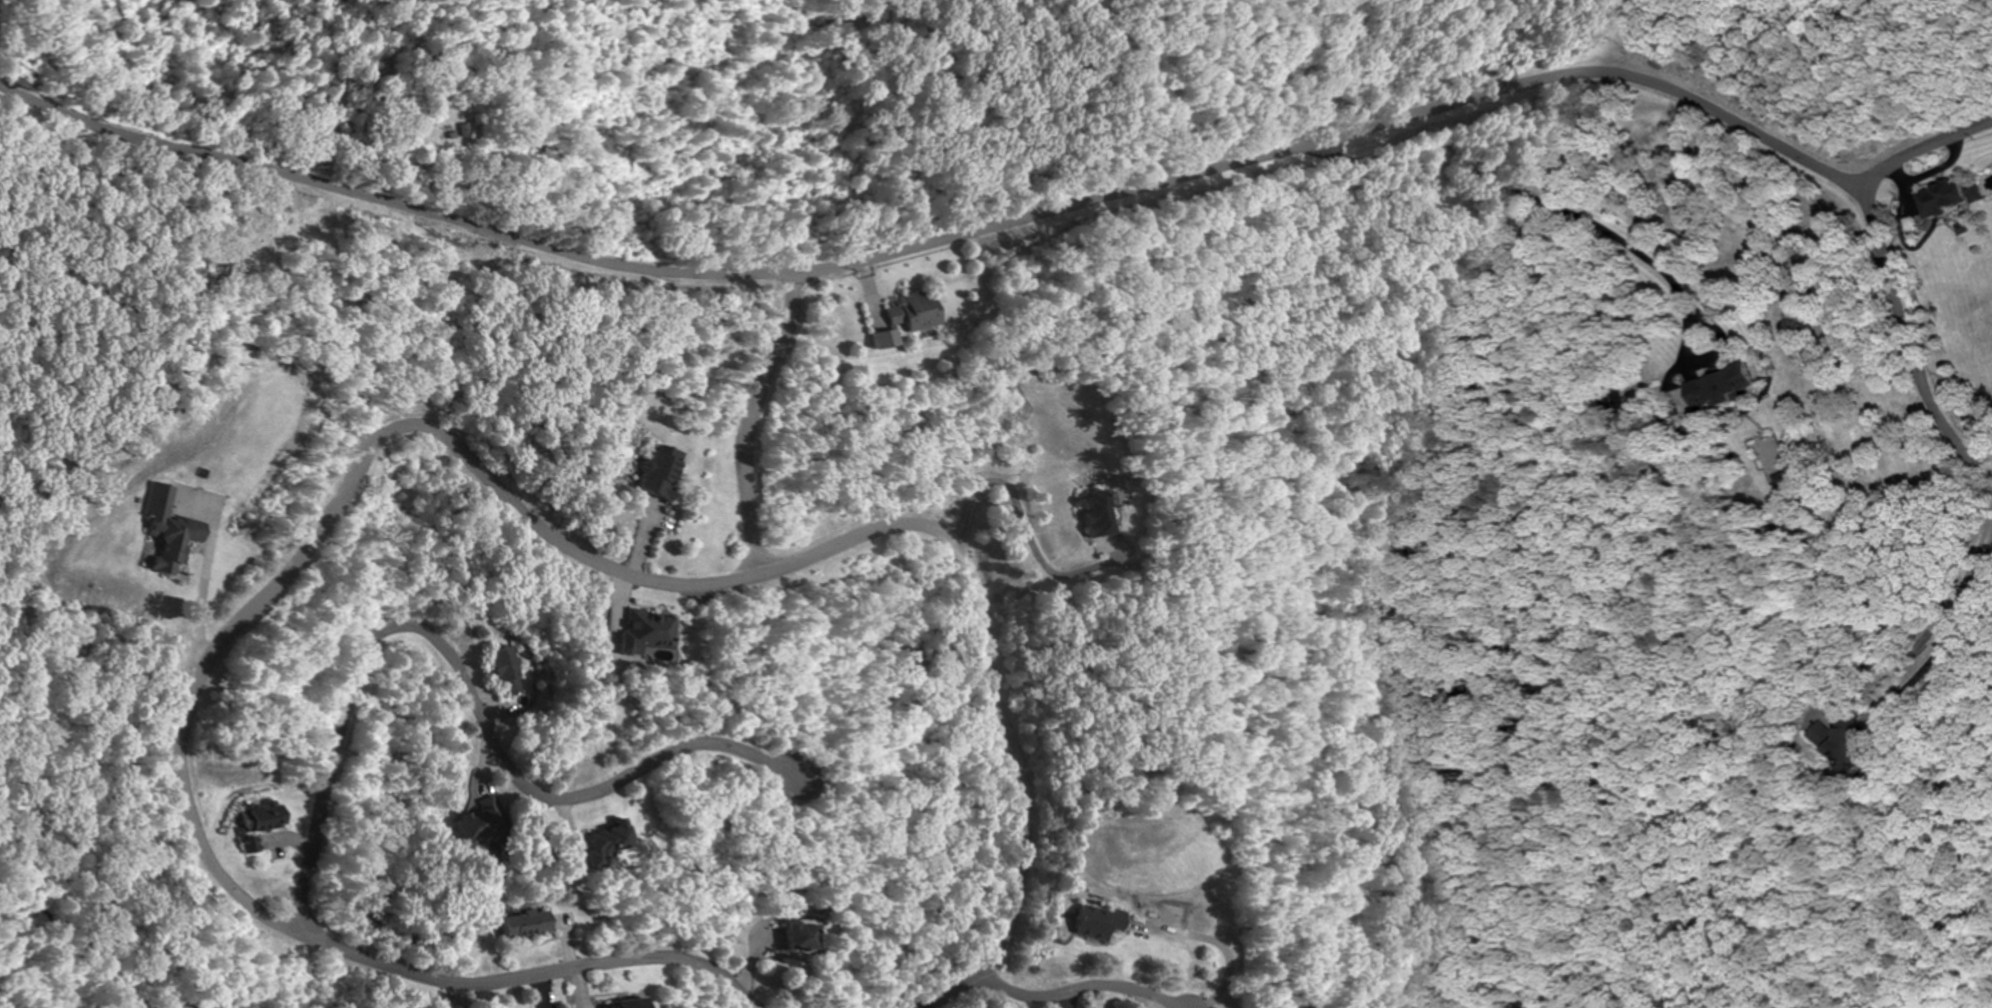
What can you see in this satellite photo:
road: (71, 53)
road: (1925, 147)
road: (939, 241)
building: (918, 311)
road: (1908, 340)
road: (748, 420)
road: (379, 438)
building: (671, 475)
building: (1100, 512)
building: (166, 545)
building: (650, 637)
road: (451, 663)
building: (506, 672)
road: (780, 784)
building: (486, 810)
building: (273, 818)
building: (253, 845)
building: (530, 922)
building: (1097, 928)
building: (804, 935)
road: (948, 991)
road: (1065, 991)
road: (1176, 1002)
building: (632, 1004)

